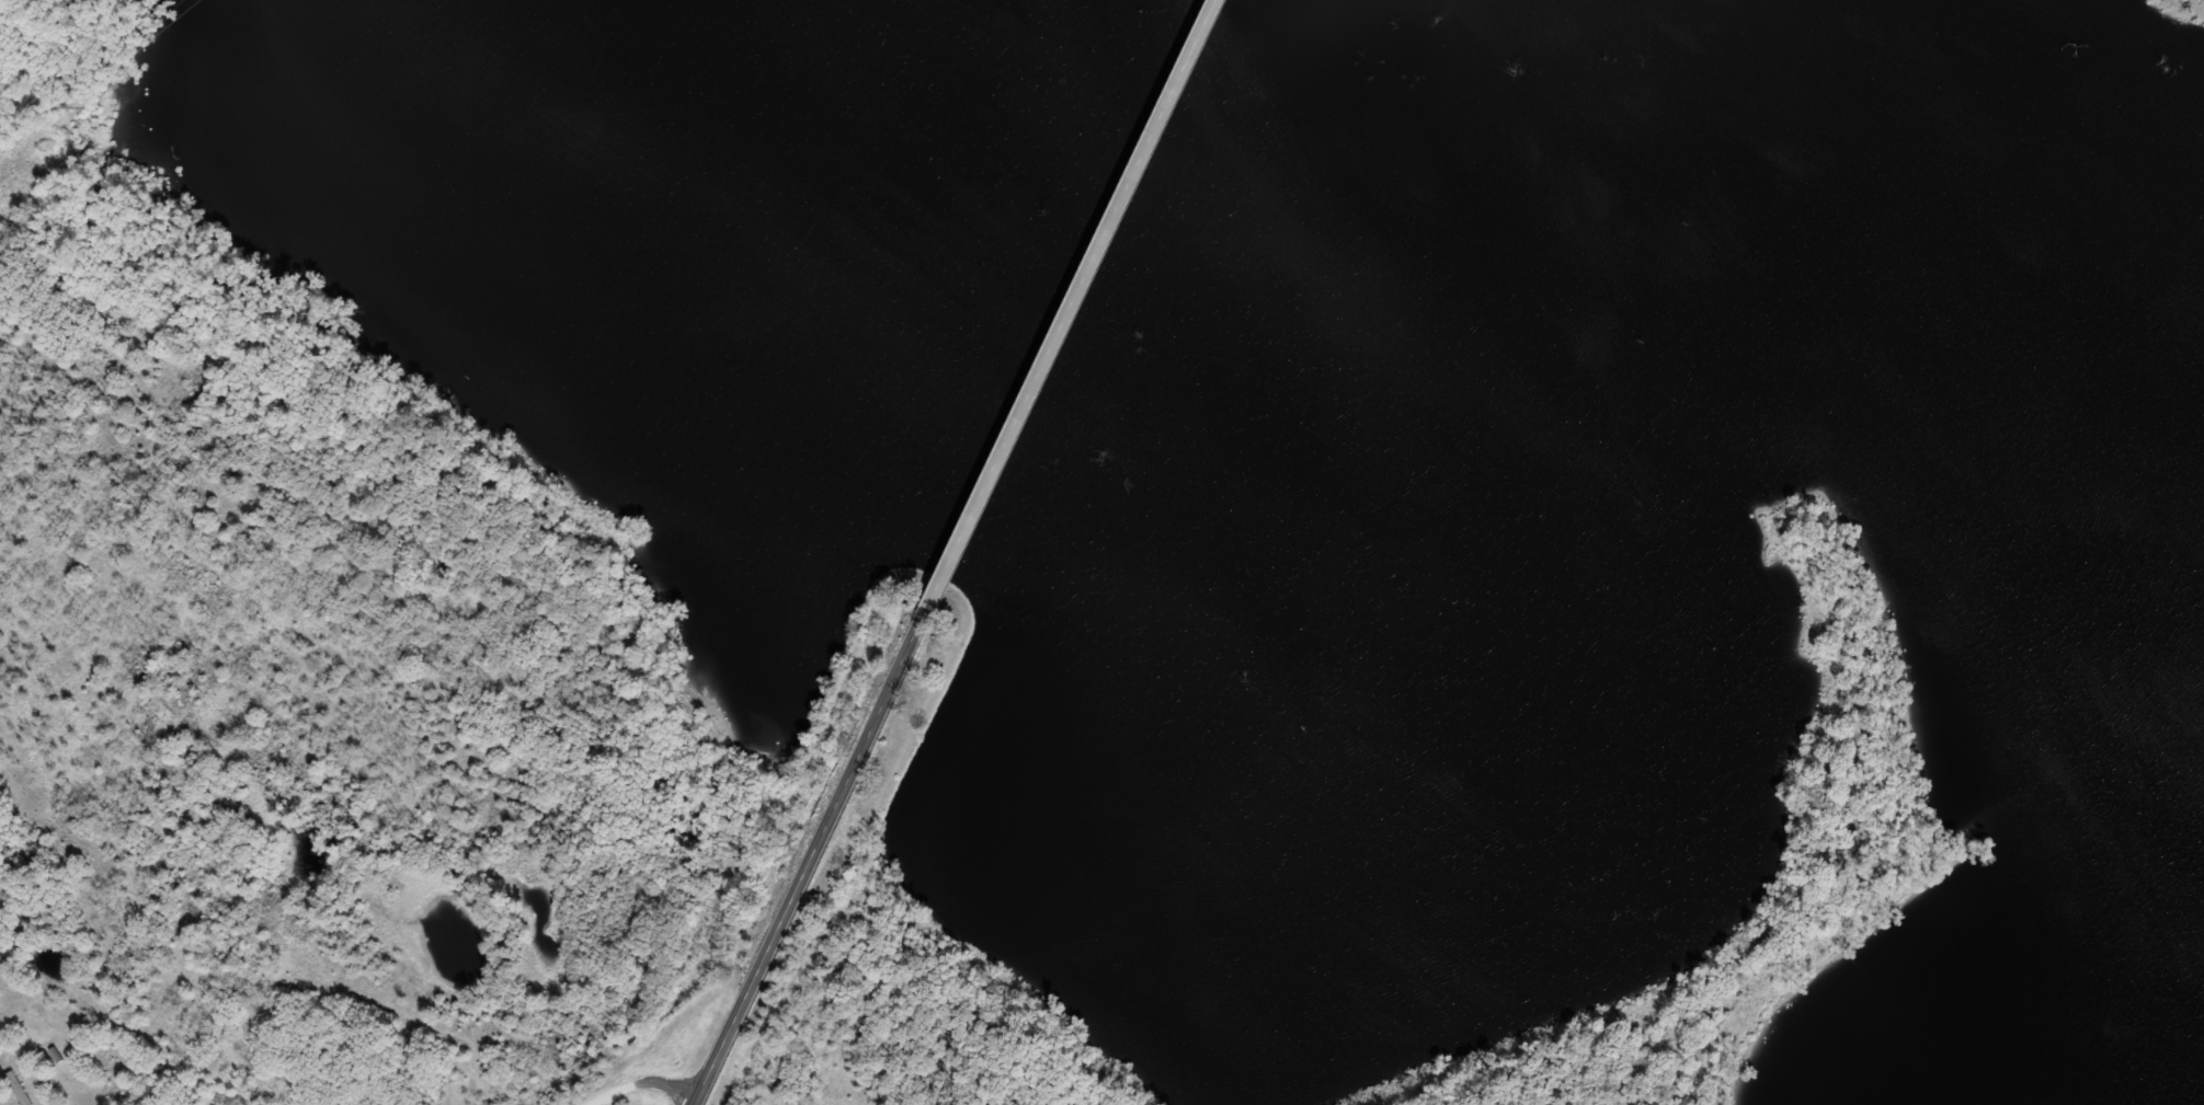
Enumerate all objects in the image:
building: (1304, 113)
road: (1077, 291)
building: (1132, 422)
road: (818, 842)
road: (661, 1070)
road: (636, 1090)

